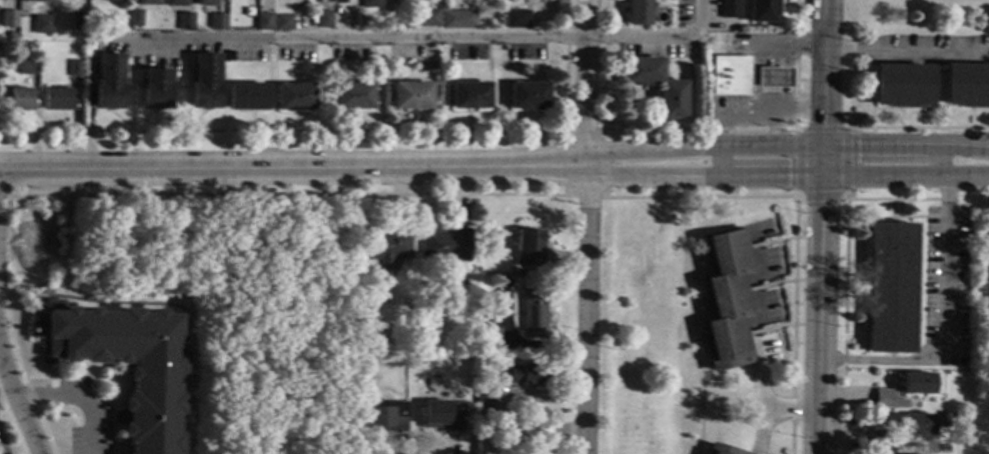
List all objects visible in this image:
building: (113, 0)
building: (34, 1)
building: (338, 1)
building: (148, 2)
building: (175, 3)
building: (206, 3)
building: (371, 4)
building: (728, 9)
building: (762, 11)
building: (637, 12)
building: (9, 18)
building: (136, 18)
building: (425, 18)
building: (458, 19)
building: (323, 20)
building: (517, 20)
building: (185, 21)
building: (217, 22)
building: (263, 22)
building: (81, 23)
building: (282, 23)
building: (43, 26)
building: (12, 36)
building: (91, 36)
road: (348, 36)
road: (906, 51)
road: (727, 53)
building: (28, 66)
road: (168, 68)
building: (76, 69)
road: (769, 69)
building: (726, 76)
building: (767, 78)
building: (204, 81)
building: (108, 82)
road: (220, 82)
road: (130, 83)
road: (186, 83)
building: (901, 85)
building: (966, 86)
road: (825, 87)
building: (155, 89)
road: (268, 89)
building: (247, 96)
building: (352, 96)
building: (411, 96)
building: (469, 96)
building: (527, 96)
building: (295, 98)
building: (59, 99)
building: (17, 100)
building: (669, 100)
road: (506, 109)
road: (754, 109)
road: (352, 112)
road: (411, 112)
road: (295, 113)
road: (468, 113)
road: (118, 117)
road: (195, 118)
road: (352, 119)
road: (468, 119)
road: (154, 120)
road: (411, 120)
road: (251, 121)
road: (526, 121)
road: (294, 122)
road: (917, 127)
road: (696, 128)
road: (346, 130)
road: (786, 146)
road: (269, 149)
road: (939, 159)
road: (717, 162)
road: (293, 167)
road: (704, 175)
road: (906, 175)
building: (227, 190)
building: (763, 192)
road: (150, 195)
road: (3, 196)
road: (568, 196)
road: (795, 199)
road: (892, 211)
road: (919, 216)
road: (586, 227)
road: (795, 231)
building: (987, 241)
building: (445, 245)
building: (386, 247)
building: (974, 247)
building: (528, 248)
road: (845, 277)
building: (890, 287)
building: (726, 300)
road: (699, 302)
road: (168, 303)
building: (467, 311)
road: (821, 314)
building: (533, 315)
road: (5, 321)
road: (945, 325)
road: (751, 336)
building: (487, 339)
road: (699, 345)
road: (696, 352)
building: (418, 356)
road: (1, 359)
building: (957, 360)
building: (124, 363)
building: (367, 366)
building: (528, 375)
road: (97, 379)
building: (916, 382)
building: (482, 395)
road: (81, 397)
building: (888, 399)
road: (18, 402)
road: (792, 408)
building: (485, 413)
building: (442, 415)
building: (387, 417)
building: (944, 419)
building: (916, 423)
building: (881, 441)
building: (721, 450)

